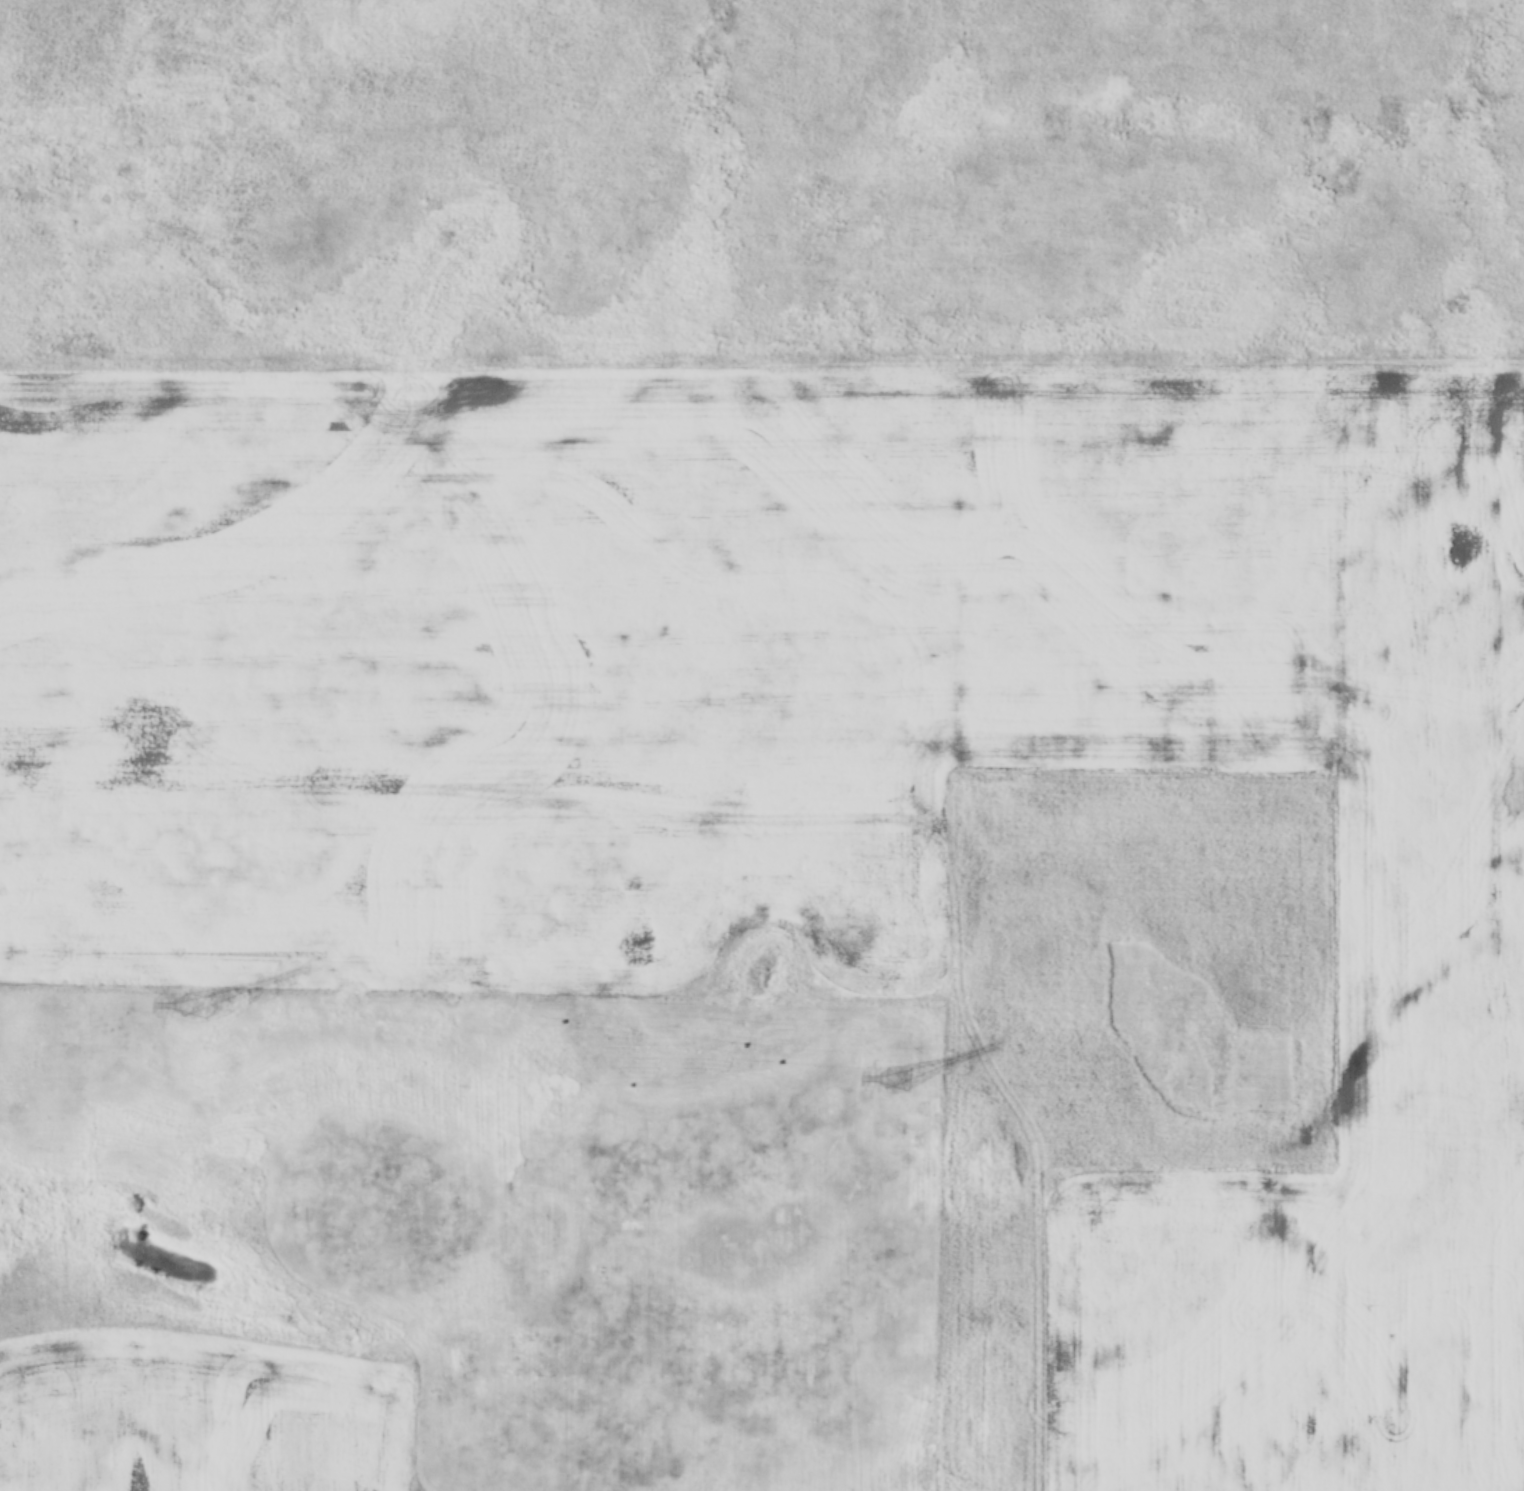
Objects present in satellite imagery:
power tower: (198, 1002)
power tower: (899, 1074)

